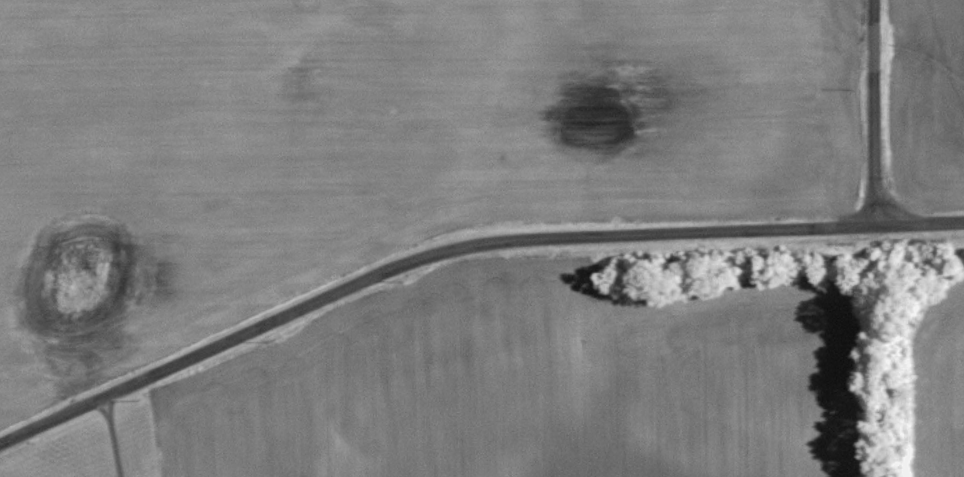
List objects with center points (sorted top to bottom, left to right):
crop: (933, 95)
road: (873, 113)
crop: (382, 135)
road: (462, 247)
crop: (955, 363)
crop: (534, 391)
road: (112, 437)

